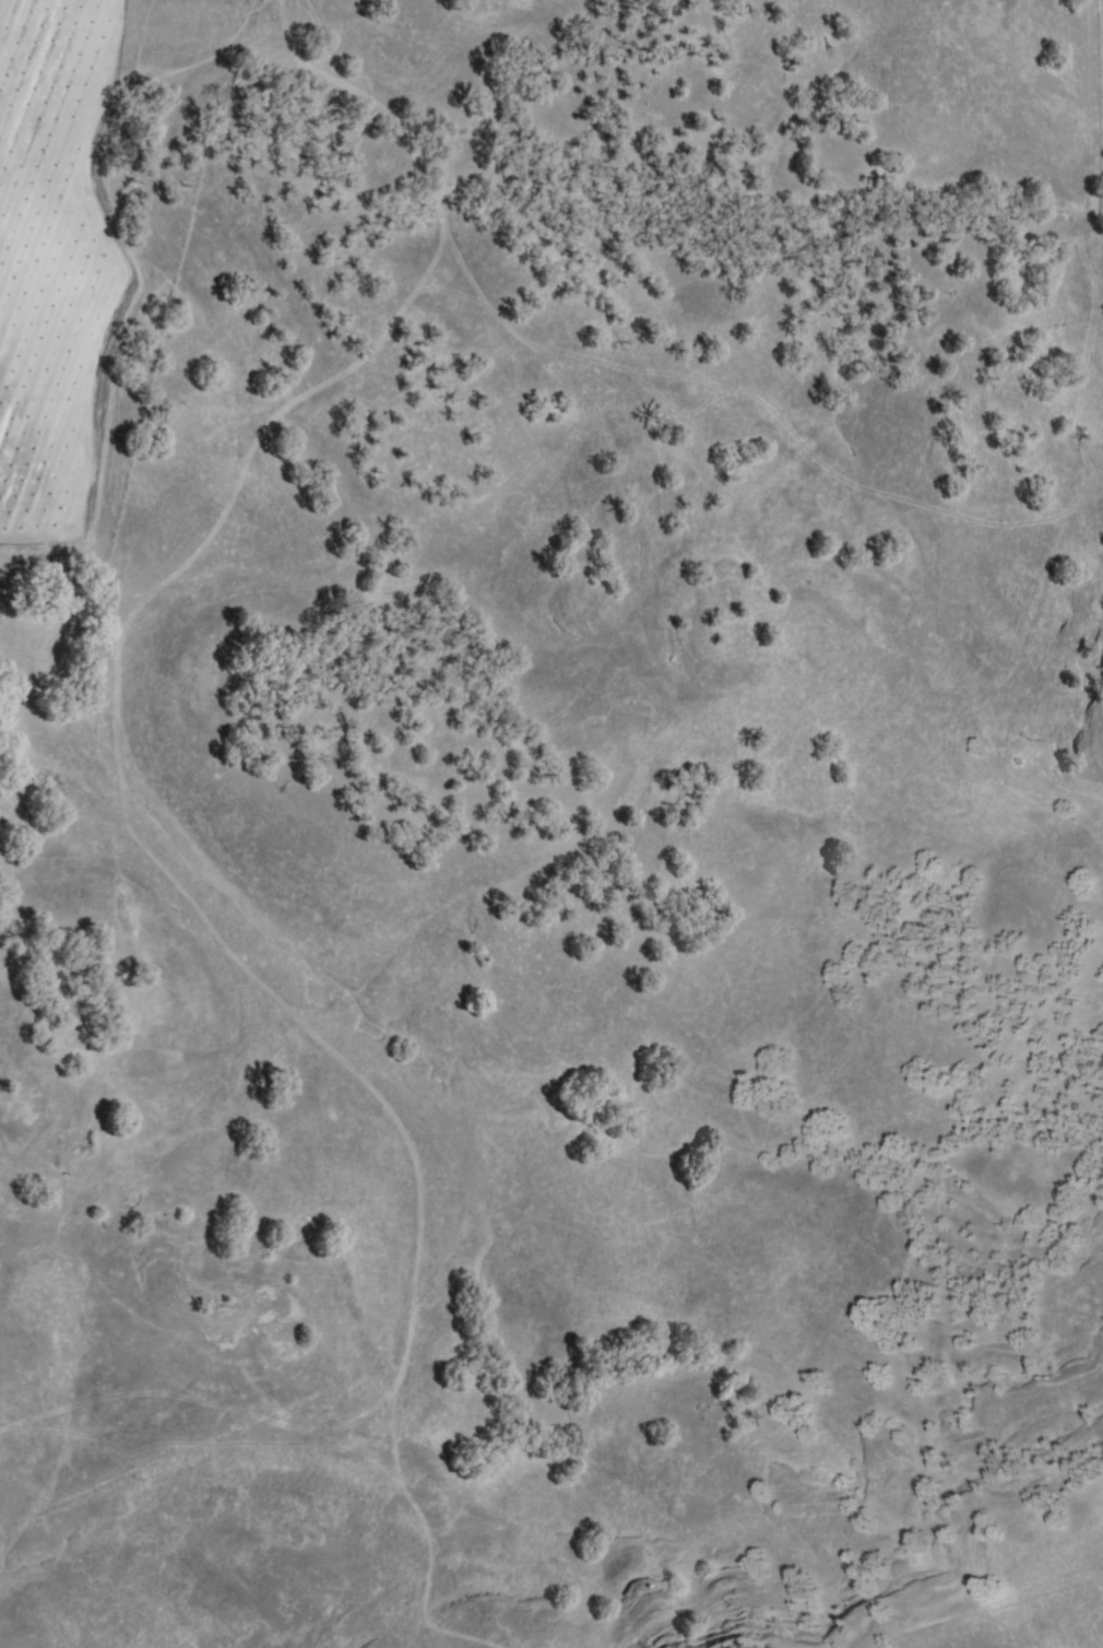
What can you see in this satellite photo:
crop: (91, 157)

